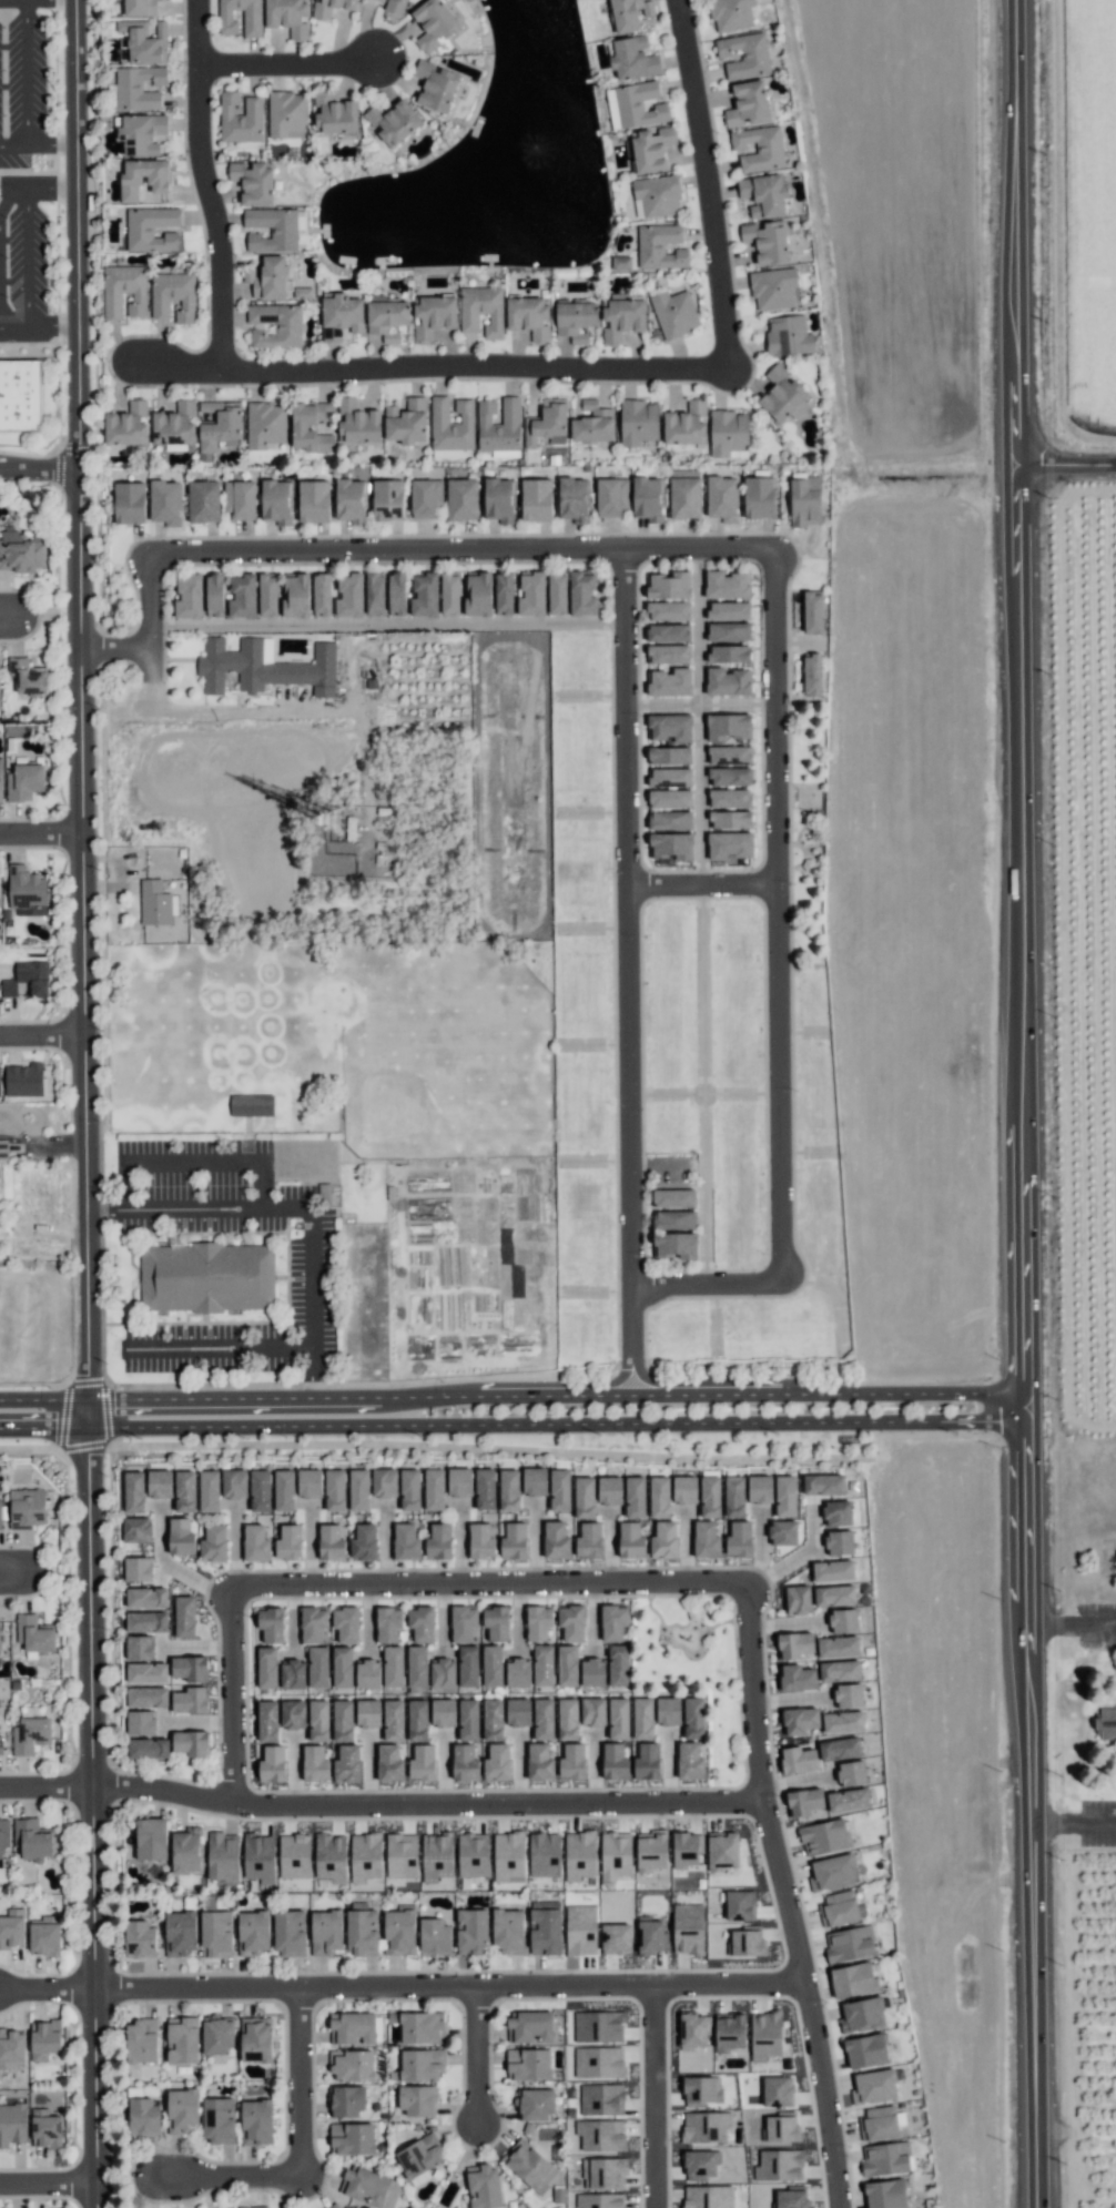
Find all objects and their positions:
building: (378, 0)
building: (395, 7)
building: (140, 8)
building: (331, 8)
building: (252, 14)
building: (626, 14)
building: (731, 14)
building: (288, 17)
building: (433, 23)
building: (142, 42)
building: (744, 55)
building: (632, 58)
road: (288, 63)
road: (28, 73)
building: (435, 85)
building: (138, 88)
building: (747, 104)
building: (635, 105)
building: (334, 113)
building: (287, 114)
building: (241, 118)
building: (393, 122)
road: (41, 148)
building: (651, 149)
building: (759, 149)
parking lot: (28, 172)
building: (143, 179)
building: (253, 182)
road: (40, 183)
road: (708, 183)
road: (207, 185)
building: (763, 194)
building: (656, 196)
building: (151, 229)
building: (272, 229)
building: (767, 241)
building: (660, 246)
road: (57, 253)
road: (31, 255)
building: (621, 262)
building: (773, 288)
building: (123, 291)
building: (172, 295)
building: (481, 310)
building: (673, 313)
building: (434, 315)
building: (342, 316)
building: (529, 316)
building: (386, 317)
building: (576, 318)
building: (621, 318)
building: (288, 325)
road: (41, 327)
building: (788, 335)
road: (476, 365)
road: (180, 372)
building: (782, 394)
building: (20, 395)
building: (406, 422)
building: (638, 422)
building: (173, 423)
building: (219, 423)
building: (357, 423)
building: (547, 423)
building: (592, 423)
building: (125, 424)
building: (265, 424)
building: (452, 424)
building: (686, 424)
building: (499, 425)
building: (311, 426)
building: (728, 433)
building: (446, 453)
building: (505, 454)
road: (1068, 464)
road: (42, 469)
building: (611, 496)
building: (759, 497)
building: (239, 498)
building: (426, 498)
building: (648, 498)
building: (722, 498)
building: (388, 499)
building: (461, 499)
building: (499, 499)
building: (536, 499)
building: (574, 499)
building: (203, 500)
building: (351, 500)
building: (129, 502)
building: (164, 502)
building: (275, 502)
building: (314, 502)
building: (805, 502)
building: (21, 551)
road: (459, 555)
building: (668, 585)
building: (727, 585)
building: (504, 592)
building: (557, 592)
building: (374, 594)
building: (396, 594)
building: (449, 594)
building: (478, 594)
building: (531, 594)
building: (582, 594)
building: (214, 595)
building: (267, 595)
building: (296, 595)
building: (322, 595)
building: (425, 595)
building: (349, 596)
building: (189, 597)
building: (242, 597)
road: (146, 604)
building: (668, 610)
building: (728, 610)
building: (812, 612)
road: (11, 616)
road: (383, 624)
road: (699, 628)
building: (728, 631)
building: (668, 632)
road: (115, 647)
building: (668, 654)
building: (728, 654)
building: (264, 667)
building: (812, 675)
building: (27, 677)
building: (728, 681)
building: (669, 682)
road: (660, 705)
road: (737, 705)
building: (669, 727)
building: (729, 727)
building: (729, 754)
building: (669, 756)
building: (729, 776)
building: (669, 777)
building: (0, 782)
building: (24, 782)
road: (700, 793)
building: (669, 798)
building: (730, 798)
building: (730, 819)
building: (669, 820)
road: (44, 834)
building: (671, 845)
building: (730, 845)
road: (699, 882)
building: (27, 892)
building: (154, 903)
road: (774, 916)
road: (626, 973)
building: (28, 979)
road: (45, 1031)
park: (438, 1057)
building: (23, 1080)
crop: (1076, 1092)
road: (90, 1104)
road: (1022, 1104)
building: (251, 1105)
building: (3, 1149)
building: (673, 1197)
road: (293, 1207)
building: (673, 1219)
building: (676, 1245)
building: (227, 1258)
road: (704, 1285)
road: (713, 1395)
road: (203, 1399)
road: (511, 1424)
building: (535, 1481)
building: (384, 1482)
building: (459, 1482)
building: (159, 1483)
building: (234, 1483)
building: (310, 1483)
building: (823, 1485)
building: (409, 1489)
building: (434, 1489)
building: (485, 1489)
building: (759, 1489)
building: (260, 1490)
building: (283, 1490)
building: (335, 1490)
building: (358, 1490)
building: (509, 1490)
building: (559, 1490)
building: (609, 1490)
building: (684, 1490)
building: (184, 1491)
building: (209, 1491)
building: (133, 1492)
building: (734, 1496)
building: (785, 1496)
building: (635, 1497)
building: (659, 1497)
building: (710, 1497)
building: (584, 1498)
building: (28, 1507)
building: (836, 1512)
building: (0, 1517)
building: (136, 1530)
building: (783, 1532)
building: (181, 1537)
building: (739, 1539)
building: (556, 1540)
building: (589, 1540)
building: (663, 1540)
building: (706, 1540)
building: (480, 1541)
building: (514, 1541)
building: (631, 1541)
building: (288, 1542)
building: (331, 1542)
building: (363, 1542)
building: (406, 1542)
building: (438, 1542)
building: (839, 1542)
building: (213, 1543)
building: (255, 1543)
road: (792, 1559)
road: (169, 1567)
building: (138, 1569)
building: (832, 1570)
road: (16, 1572)
road: (488, 1589)
building: (834, 1596)
building: (146, 1598)
building: (798, 1600)
building: (184, 1617)
building: (146, 1621)
building: (843, 1621)
building: (496, 1622)
building: (538, 1622)
building: (571, 1622)
building: (613, 1622)
building: (420, 1623)
road: (1072, 1623)
building: (271, 1624)
building: (313, 1624)
building: (345, 1624)
building: (388, 1624)
building: (464, 1624)
building: (34, 1633)
building: (794, 1644)
building: (838, 1647)
building: (140, 1648)
building: (468, 1665)
building: (491, 1665)
building: (542, 1665)
building: (618, 1665)
building: (266, 1667)
building: (317, 1667)
building: (342, 1667)
building: (393, 1667)
building: (417, 1667)
building: (567, 1667)
building: (190, 1669)
building: (840, 1671)
building: (146, 1672)
building: (518, 1672)
building: (592, 1672)
building: (443, 1673)
building: (292, 1674)
building: (367, 1674)
building: (798, 1678)
road: (230, 1695)
road: (751, 1695)
building: (849, 1695)
building: (148, 1696)
building: (190, 1700)
building: (668, 1711)
building: (443, 1712)
building: (518, 1712)
building: (592, 1712)
building: (368, 1713)
building: (293, 1714)
building: (693, 1718)
building: (544, 1719)
building: (568, 1719)
building: (618, 1719)
building: (642, 1719)
building: (318, 1720)
building: (393, 1720)
building: (417, 1720)
building: (468, 1720)
building: (493, 1720)
building: (267, 1721)
building: (342, 1721)
building: (801, 1721)
building: (141, 1722)
building: (843, 1722)
building: (1106, 1722)
building: (30, 1734)
building: (191, 1743)
building: (0, 1745)
building: (148, 1748)
building: (840, 1749)
building: (798, 1760)
building: (615, 1761)
building: (647, 1761)
building: (690, 1761)
building: (497, 1762)
building: (539, 1762)
building: (572, 1762)
building: (315, 1763)
building: (389, 1763)
building: (422, 1763)
building: (464, 1763)
building: (272, 1764)
building: (347, 1764)
building: (852, 1773)
road: (49, 1785)
building: (848, 1800)
road: (426, 1801)
building: (804, 1801)
road: (1074, 1822)
building: (3, 1834)
building: (824, 1837)
building: (151, 1839)
building: (32, 1840)
building: (687, 1849)
building: (186, 1851)
building: (651, 1851)
building: (722, 1852)
building: (544, 1854)
building: (294, 1855)
building: (400, 1855)
building: (473, 1855)
building: (579, 1855)
building: (616, 1855)
building: (223, 1856)
building: (365, 1856)
building: (436, 1856)
building: (508, 1856)
building: (258, 1857)
building: (331, 1857)
building: (832, 1873)
building: (740, 1905)
building: (838, 1910)
building: (545, 1927)
building: (12, 1928)
building: (688, 1928)
building: (362, 1930)
building: (580, 1930)
building: (507, 1931)
building: (326, 1932)
building: (471, 1932)
building: (181, 1933)
building: (253, 1933)
building: (290, 1933)
building: (398, 1933)
building: (215, 1934)
building: (650, 1935)
building: (44, 1936)
building: (434, 1936)
building: (616, 1938)
building: (140, 1939)
building: (747, 1942)
building: (849, 1944)
building: (853, 1981)
road: (399, 1989)
road: (802, 2003)
building: (862, 2015)
building: (418, 2026)
building: (598, 2026)
building: (352, 2027)
building: (530, 2027)
building: (693, 2030)
building: (730, 2032)
building: (216, 2035)
building: (765, 2036)
building: (44, 2039)
building: (182, 2039)
building: (255, 2039)
building: (142, 2040)
building: (11, 2048)
building: (865, 2050)
road: (481, 2058)
building: (599, 2062)
building: (528, 2064)
building: (352, 2065)
building: (422, 2065)
road: (304, 2085)
building: (873, 2087)
building: (701, 2090)
building: (778, 2091)
road: (653, 2096)
building: (601, 2099)
building: (347, 2100)
building: (417, 2100)
building: (535, 2105)
building: (182, 2110)
building: (143, 2116)
building: (219, 2120)
building: (256, 2123)
building: (12, 2124)
building: (877, 2124)
building: (706, 2127)
building: (782, 2128)
building: (45, 2129)
building: (601, 2135)
building: (352, 2139)
building: (419, 2156)
building: (885, 2159)
building: (528, 2165)
building: (700, 2165)
building: (779, 2166)
building: (603, 2172)
road: (232, 2179)
road: (51, 2185)
building: (484, 2186)
building: (368, 2187)
building: (885, 2194)
building: (708, 2197)
building: (791, 2199)
building: (253, 2207)
building: (335, 2207)

